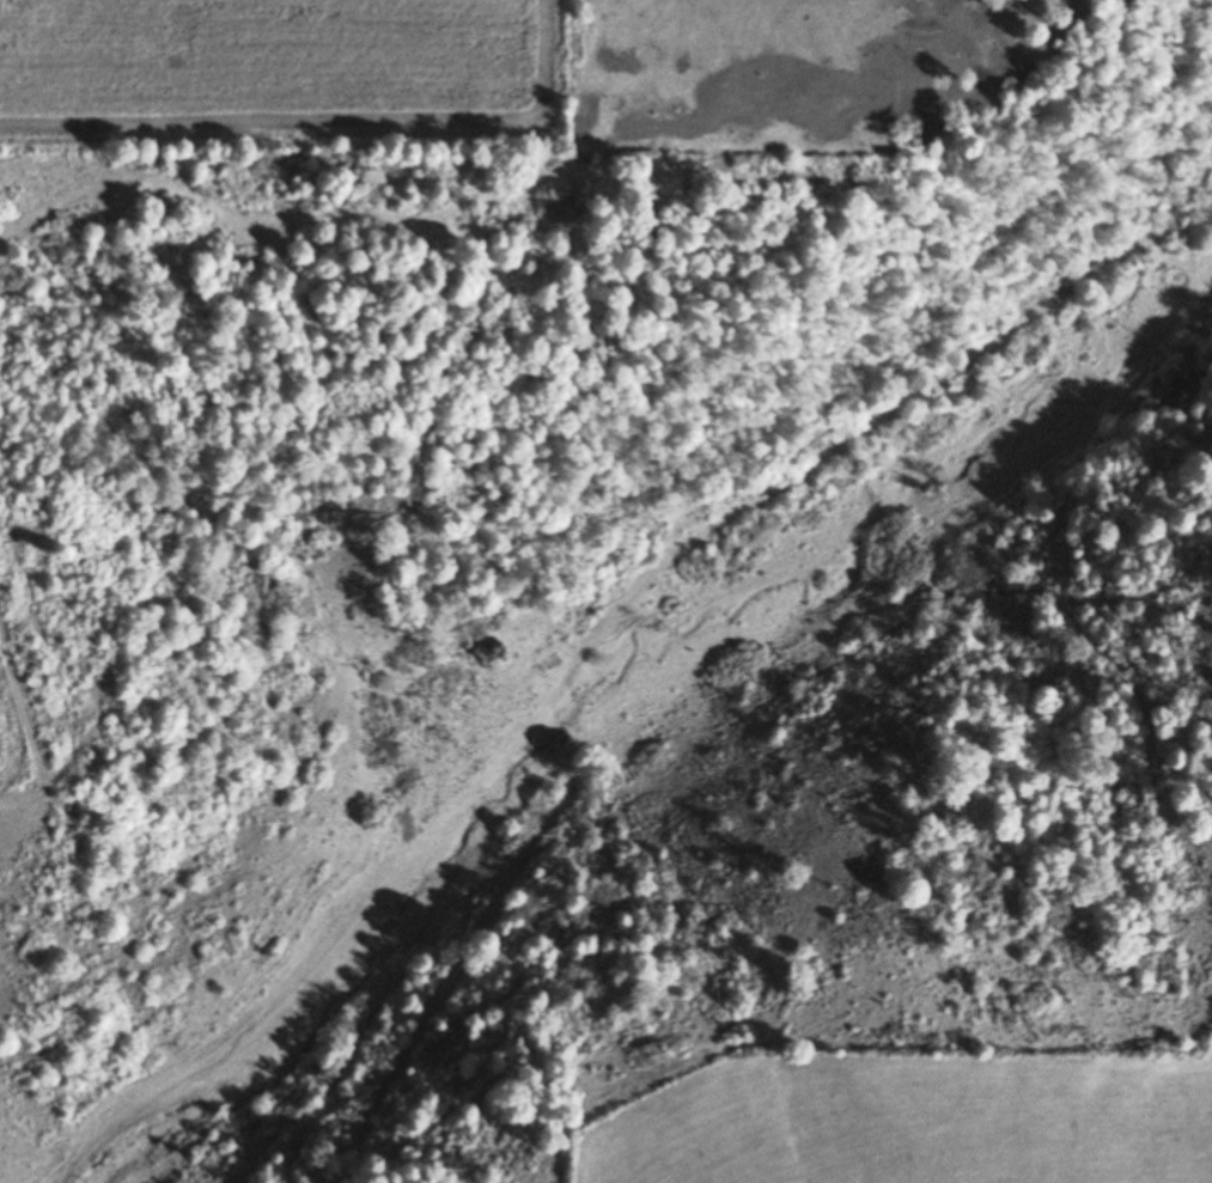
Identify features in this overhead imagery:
crop: (273, 71)
building: (483, 654)
crop: (916, 1121)

